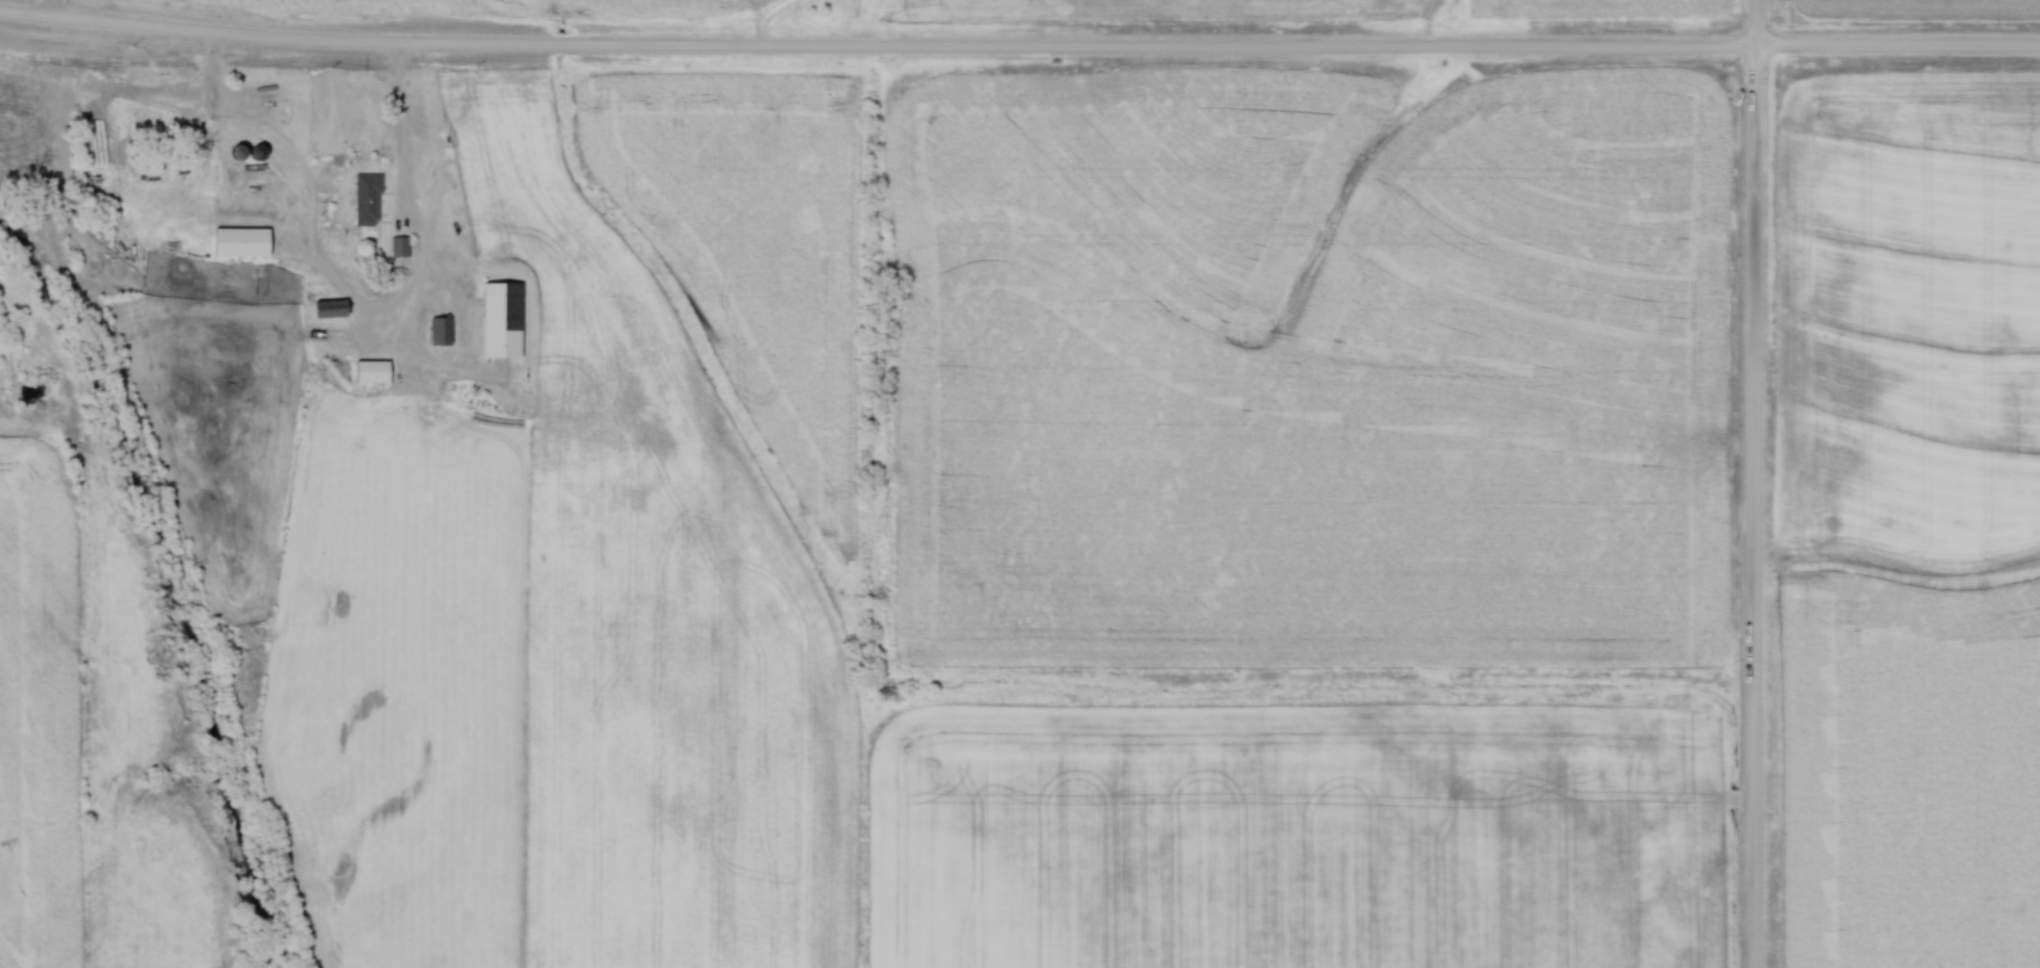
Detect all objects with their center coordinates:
road: (135, 16)
road: (1019, 49)
road: (406, 165)
road: (308, 170)
building: (371, 199)
building: (247, 242)
building: (403, 246)
building: (337, 309)
building: (506, 319)
building: (444, 330)
road: (404, 351)
building: (378, 371)
road: (1756, 483)

